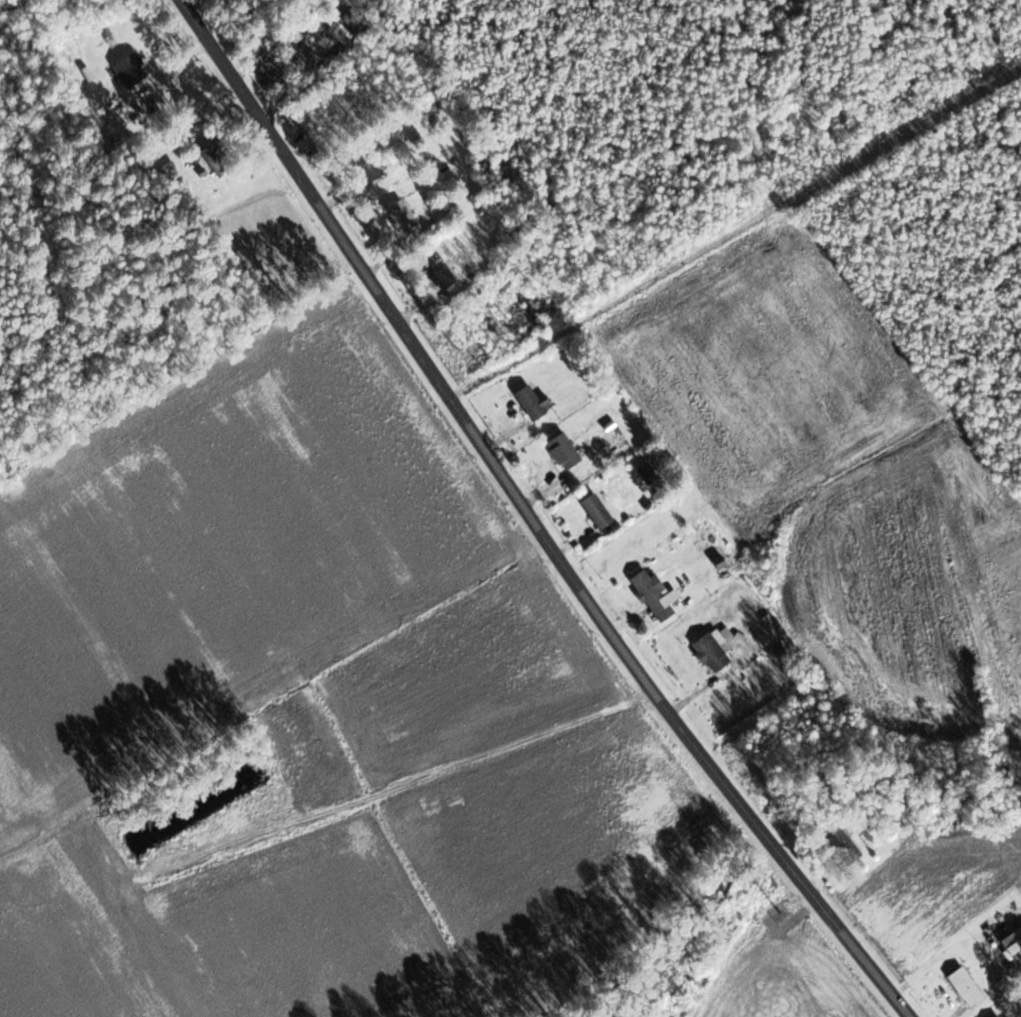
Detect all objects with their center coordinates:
building: (300, 53)
building: (130, 69)
building: (367, 162)
building: (167, 172)
building: (404, 216)
road: (736, 231)
building: (438, 270)
building: (472, 358)
building: (533, 403)
building: (563, 451)
building: (597, 510)
road: (533, 516)
building: (652, 589)
building: (714, 650)
building: (529, 787)
building: (454, 801)
building: (844, 846)
building: (966, 986)
building: (1001, 1016)

